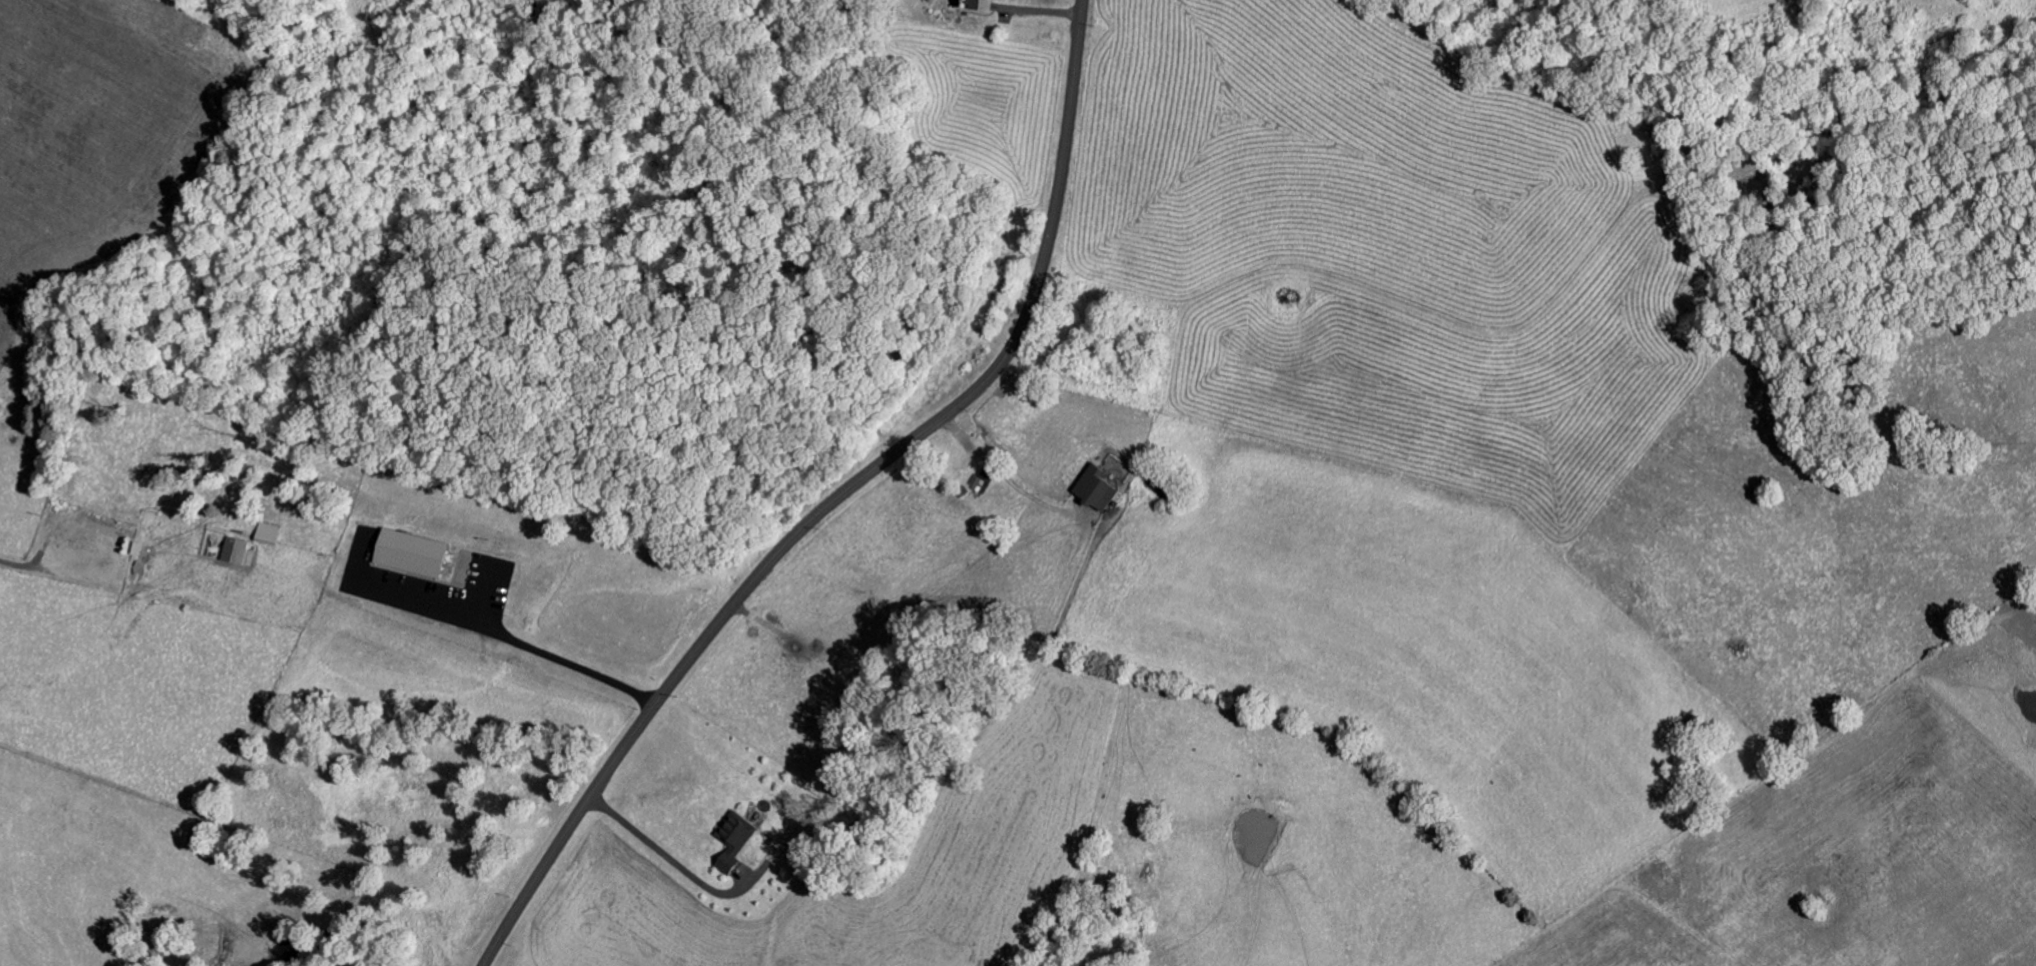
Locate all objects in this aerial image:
building: (977, 6)
building: (977, 484)
building: (1090, 493)
road: (838, 499)
building: (262, 537)
building: (230, 554)
building: (405, 556)
building: (729, 843)

